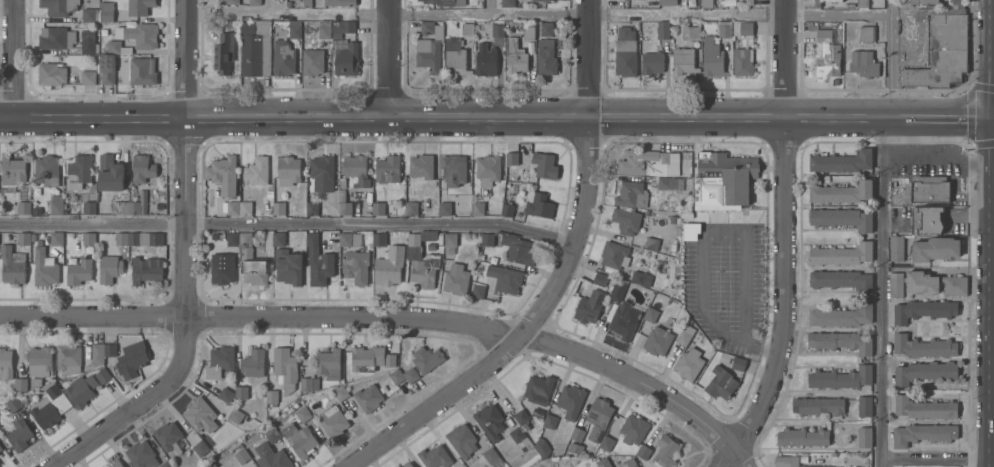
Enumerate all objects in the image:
building: (540, 0)
building: (227, 1)
building: (340, 2)
building: (445, 2)
building: (924, 2)
building: (255, 3)
building: (307, 3)
building: (508, 3)
building: (668, 3)
building: (749, 3)
building: (862, 3)
building: (288, 4)
building: (707, 4)
building: (958, 4)
building: (818, 5)
building: (58, 6)
building: (139, 6)
road: (489, 6)
building: (106, 10)
building: (90, 13)
road: (539, 13)
building: (341, 27)
building: (428, 27)
building: (324, 28)
building: (498, 29)
building: (743, 29)
building: (295, 30)
building: (467, 30)
building: (546, 30)
building: (663, 30)
building: (725, 30)
building: (275, 31)
building: (529, 31)
building: (138, 33)
building: (691, 33)
building: (867, 34)
building: (836, 35)
building: (55, 36)
building: (87, 40)
building: (116, 46)
building: (254, 46)
building: (941, 50)
building: (223, 51)
building: (428, 53)
building: (626, 53)
building: (828, 54)
building: (282, 56)
road: (388, 57)
road: (10, 58)
building: (456, 58)
building: (515, 58)
building: (546, 58)
road: (894, 58)
building: (347, 59)
building: (486, 59)
building: (713, 59)
building: (312, 60)
building: (683, 62)
building: (744, 62)
building: (652, 63)
building: (864, 64)
building: (107, 68)
building: (143, 70)
building: (121, 71)
building: (51, 72)
building: (88, 76)
road: (451, 116)
road: (949, 117)
road: (184, 157)
building: (511, 160)
building: (842, 162)
building: (650, 164)
building: (421, 165)
parking lot: (932, 165)
building: (544, 166)
building: (142, 167)
building: (287, 168)
building: (355, 168)
building: (387, 168)
building: (46, 169)
building: (256, 169)
building: (78, 170)
building: (321, 171)
building: (455, 171)
building: (489, 171)
building: (11, 172)
building: (110, 172)
building: (222, 173)
road: (583, 178)
building: (724, 182)
building: (670, 184)
building: (930, 190)
building: (270, 193)
building: (843, 193)
building: (632, 195)
building: (343, 202)
building: (55, 203)
building: (538, 205)
building: (23, 206)
building: (88, 206)
building: (120, 206)
building: (133, 206)
building: (233, 206)
building: (245, 206)
building: (277, 206)
building: (317, 207)
building: (378, 207)
building: (411, 207)
building: (445, 209)
building: (478, 209)
building: (507, 210)
building: (841, 216)
building: (626, 219)
building: (927, 221)
road: (287, 222)
building: (690, 229)
building: (23, 237)
building: (56, 237)
building: (88, 237)
building: (120, 237)
building: (233, 237)
building: (245, 237)
building: (349, 237)
building: (449, 237)
building: (144, 238)
building: (278, 238)
building: (379, 238)
road: (783, 238)
building: (650, 242)
road: (702, 244)
building: (511, 245)
building: (896, 246)
building: (935, 250)
building: (253, 251)
building: (841, 252)
building: (422, 256)
building: (613, 256)
building: (318, 260)
building: (12, 264)
building: (44, 265)
building: (288, 265)
building: (355, 265)
building: (108, 268)
building: (145, 268)
building: (221, 269)
building: (78, 270)
building: (254, 270)
building: (388, 271)
building: (640, 276)
building: (504, 277)
building: (599, 277)
building: (455, 278)
building: (841, 278)
building: (934, 282)
building: (895, 283)
parking lot: (728, 284)
building: (617, 288)
building: (477, 289)
road: (881, 292)
building: (589, 305)
building: (923, 308)
building: (650, 313)
building: (841, 314)
road: (385, 315)
building: (624, 318)
building: (685, 332)
building: (657, 340)
building: (840, 340)
building: (922, 345)
building: (109, 348)
building: (97, 352)
building: (68, 357)
building: (370, 357)
building: (426, 357)
building: (132, 358)
building: (40, 359)
building: (219, 360)
building: (5, 362)
building: (252, 362)
building: (689, 362)
building: (738, 362)
building: (328, 363)
building: (285, 367)
building: (925, 370)
building: (102, 374)
building: (403, 374)
building: (840, 376)
building: (720, 381)
building: (308, 382)
building: (20, 383)
building: (538, 388)
building: (81, 389)
building: (244, 391)
building: (339, 391)
building: (225, 393)
building: (271, 395)
building: (367, 396)
building: (570, 399)
building: (13, 402)
road: (137, 403)
road: (428, 403)
building: (50, 405)
building: (817, 405)
building: (864, 405)
building: (924, 406)
building: (198, 413)
building: (302, 413)
building: (234, 414)
building: (520, 415)
building: (597, 416)
building: (549, 419)
building: (332, 420)
building: (489, 420)
building: (633, 428)
building: (923, 432)
building: (19, 433)
building: (517, 433)
building: (577, 433)
building: (271, 434)
building: (168, 435)
building: (802, 435)
building: (863, 435)
building: (299, 438)
building: (462, 439)
building: (606, 441)
building: (200, 446)
building: (541, 446)
building: (0, 447)
building: (575, 448)
building: (0, 450)
building: (643, 450)
building: (666, 450)
building: (141, 454)
building: (241, 454)
building: (271, 456)
building: (434, 456)
building: (492, 456)
road: (937, 458)
road: (727, 459)
building: (786, 460)
building: (116, 462)
building: (603, 462)
building: (628, 463)
building: (0, 464)
building: (165, 464)
building: (209, 464)
building: (407, 464)
building: (815, 465)
building: (397, 466)

